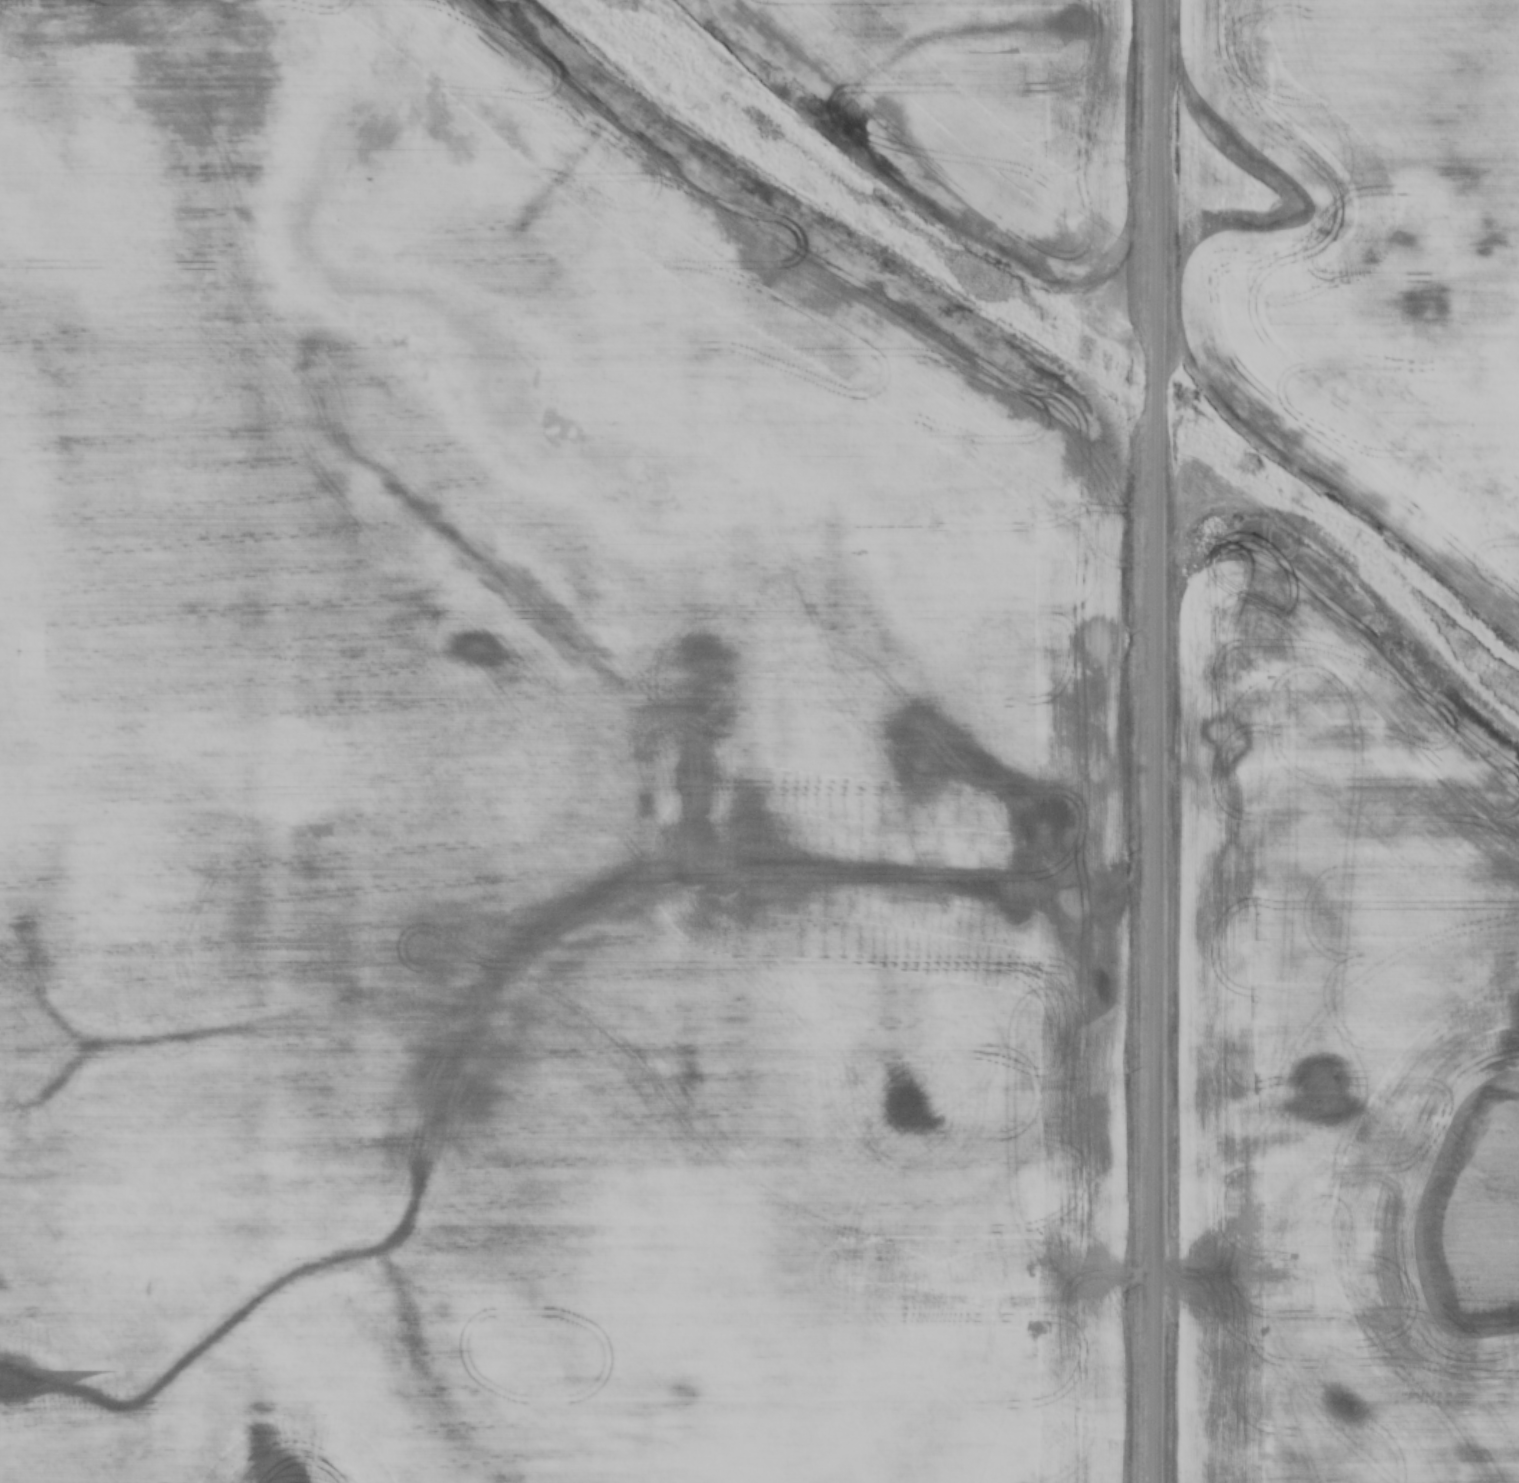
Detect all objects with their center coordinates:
road: (1157, 741)
building: (1133, 1338)

